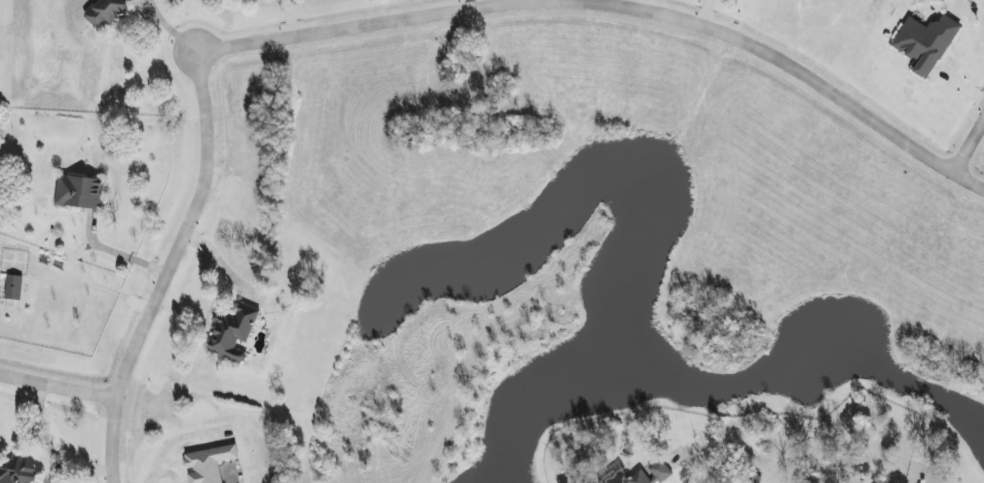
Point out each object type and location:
road: (469, 4)
road: (610, 5)
road: (640, 5)
road: (703, 12)
building: (105, 13)
road: (167, 28)
building: (925, 44)
road: (968, 143)
building: (78, 191)
road: (114, 253)
road: (221, 262)
road: (166, 267)
building: (13, 283)
building: (232, 333)
road: (57, 387)
road: (173, 439)
road: (46, 454)
building: (207, 463)
building: (18, 472)
road: (164, 472)
building: (651, 474)
road: (695, 474)

